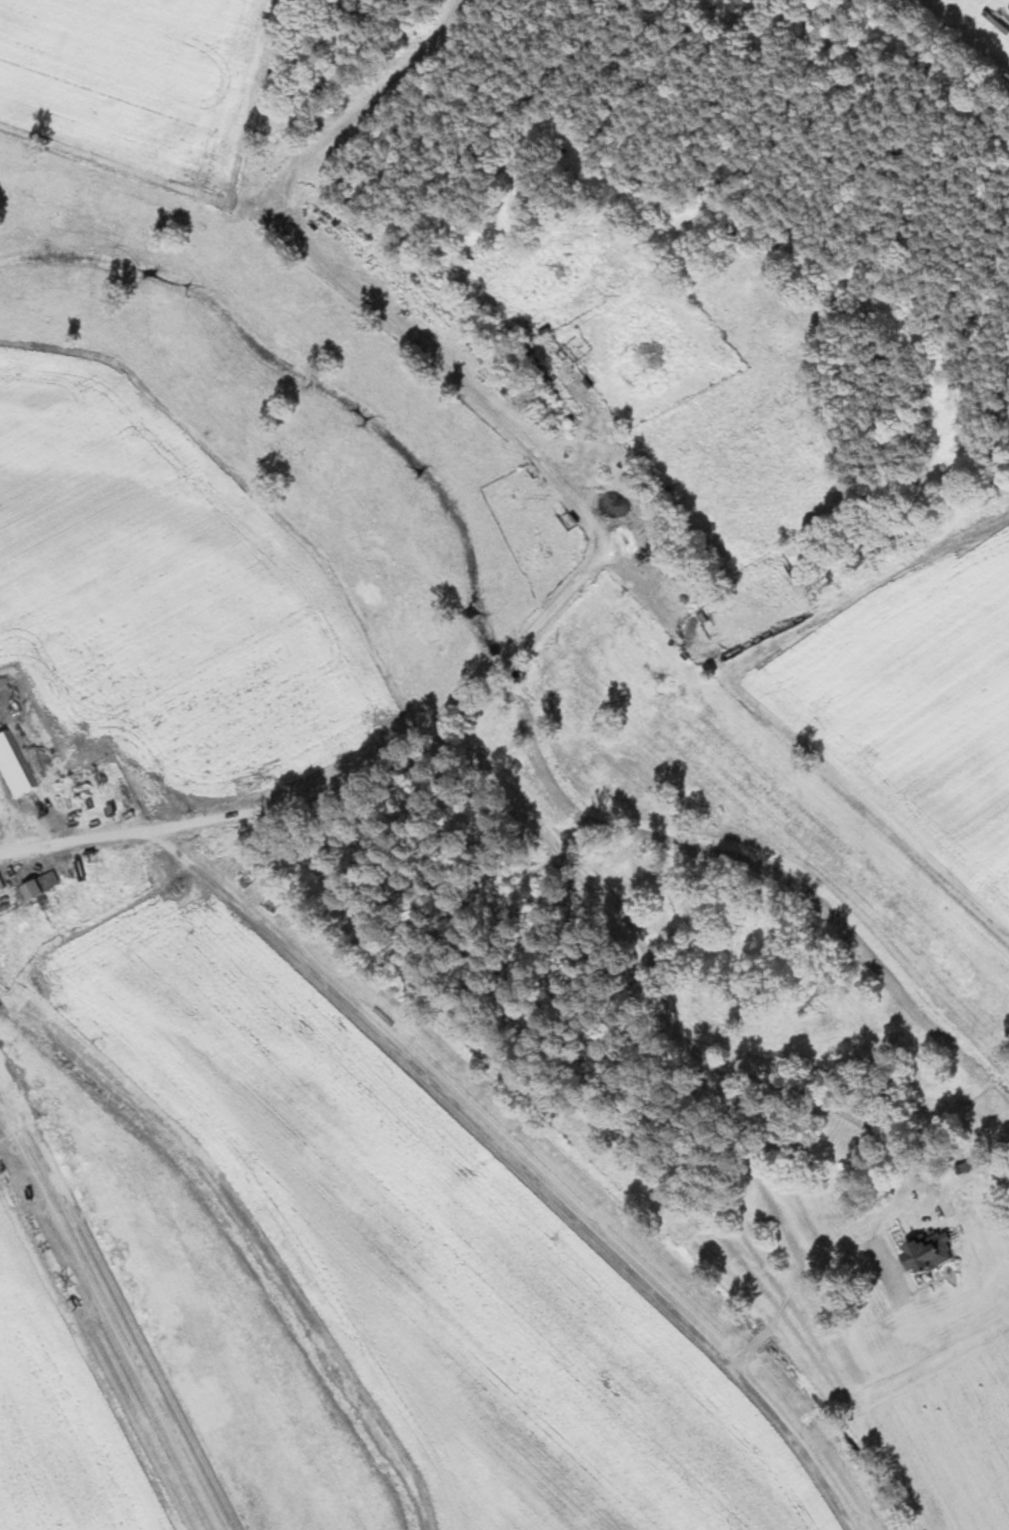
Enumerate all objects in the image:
road: (362, 110)
road: (548, 467)
road: (344, 776)
road: (663, 1005)
building: (921, 1252)

